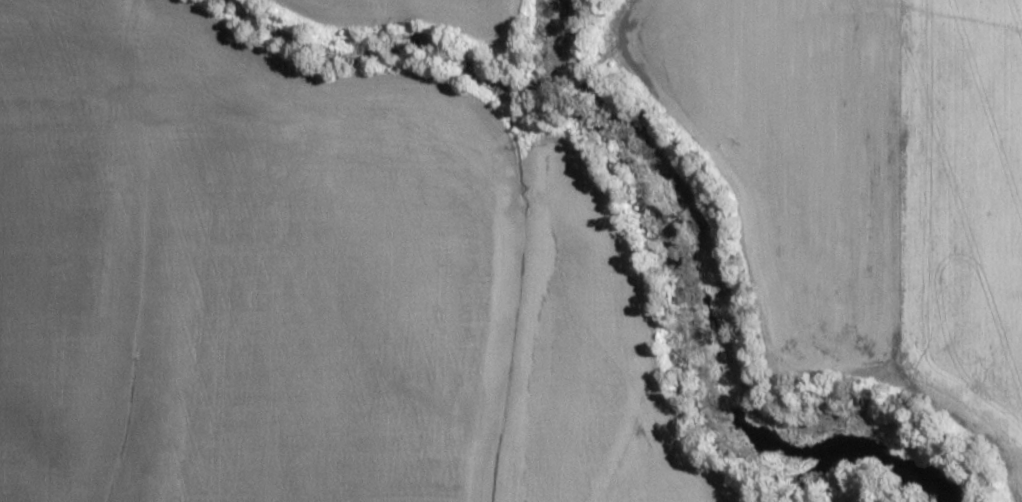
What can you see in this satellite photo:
road: (483, 113)

